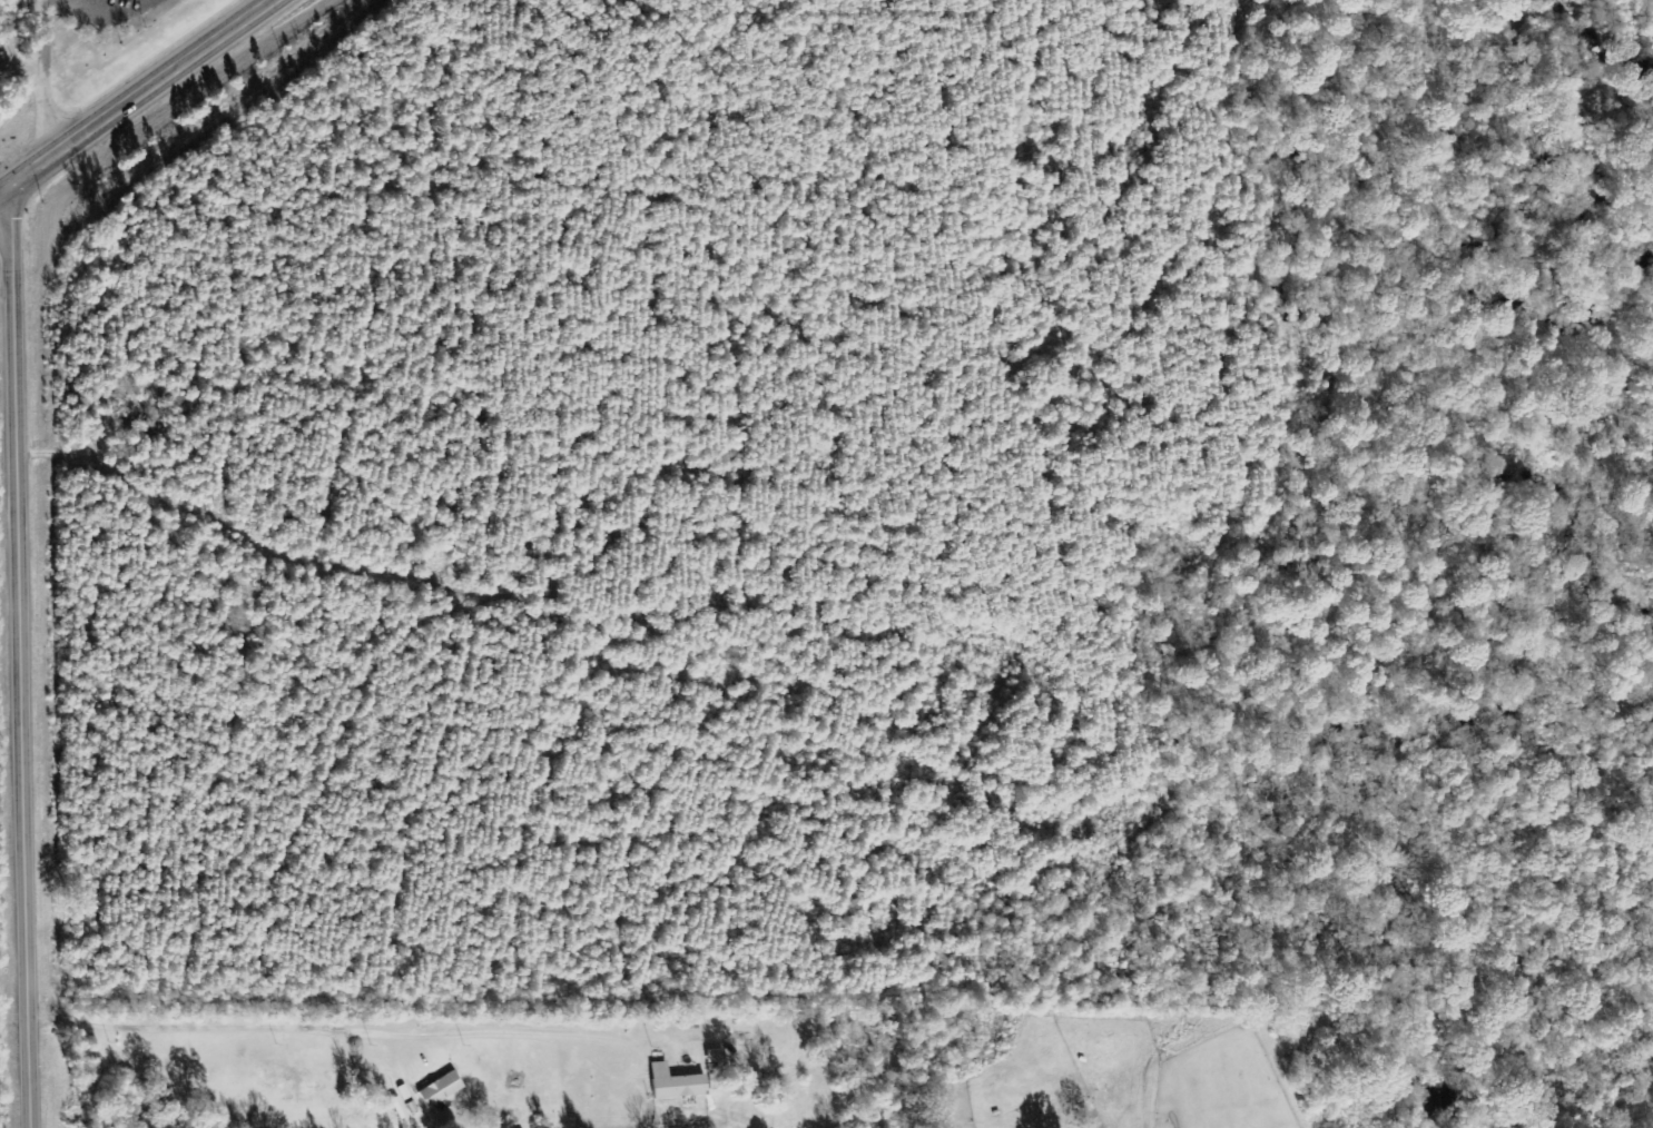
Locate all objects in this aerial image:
road: (38, 92)
road: (130, 92)
road: (17, 666)
building: (710, 1056)
building: (669, 1082)
building: (435, 1089)

